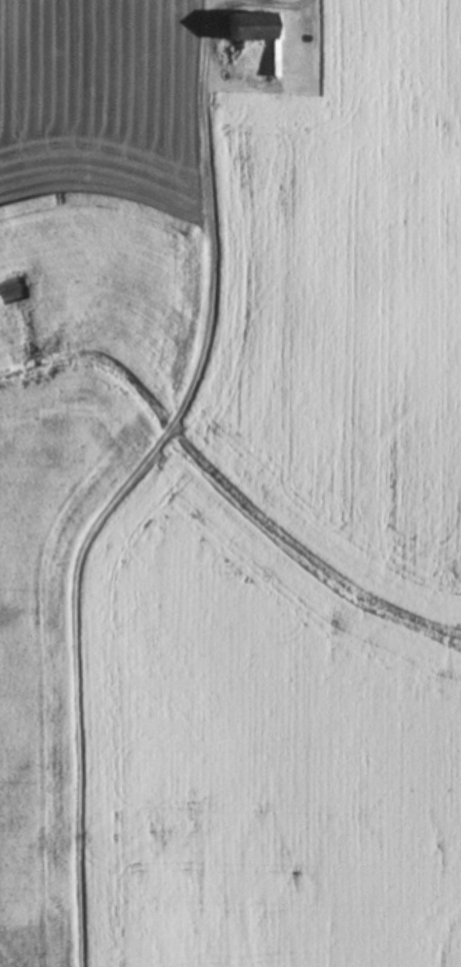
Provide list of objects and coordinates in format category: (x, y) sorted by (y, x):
building: (259, 37)

